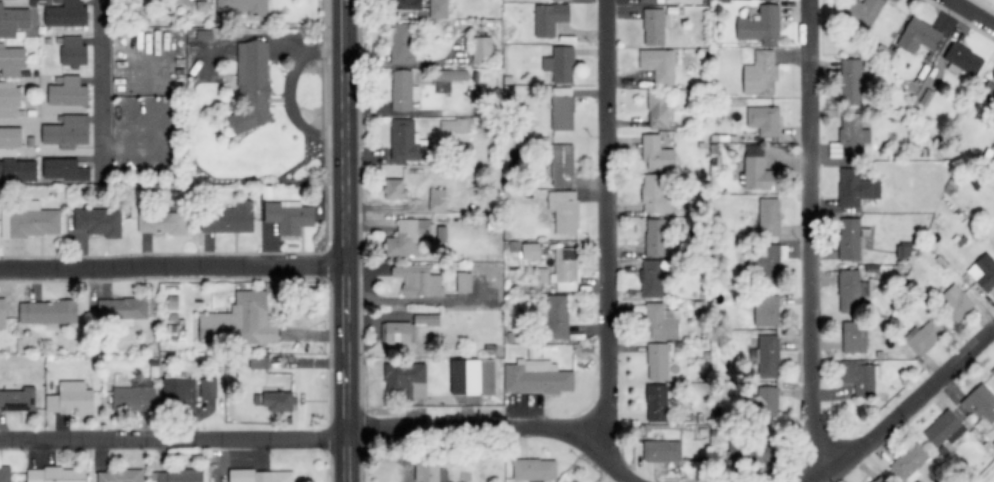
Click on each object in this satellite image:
building: (561, 0)
building: (650, 1)
building: (407, 4)
building: (438, 9)
road: (974, 10)
building: (861, 12)
building: (65, 13)
building: (549, 19)
building: (14, 21)
building: (654, 26)
building: (761, 26)
building: (918, 36)
building: (403, 44)
building: (482, 50)
building: (73, 52)
building: (11, 61)
building: (559, 64)
building: (658, 66)
building: (760, 74)
building: (451, 75)
building: (851, 81)
building: (252, 87)
road: (102, 91)
building: (402, 91)
building: (987, 91)
building: (67, 92)
building: (9, 99)
building: (658, 110)
building: (561, 113)
building: (763, 120)
building: (453, 126)
building: (66, 131)
building: (10, 137)
building: (847, 138)
building: (405, 141)
building: (656, 154)
building: (561, 165)
building: (64, 170)
building: (757, 170)
building: (18, 171)
building: (856, 188)
building: (394, 190)
building: (655, 195)
building: (436, 200)
building: (563, 211)
building: (289, 217)
building: (768, 217)
building: (228, 219)
road: (604, 219)
building: (33, 220)
building: (98, 222)
building: (161, 223)
building: (405, 237)
building: (657, 237)
building: (849, 239)
road: (341, 241)
road: (810, 241)
building: (511, 247)
building: (531, 251)
building: (903, 252)
building: (770, 264)
road: (170, 265)
building: (564, 269)
building: (983, 272)
building: (654, 276)
building: (417, 281)
building: (463, 282)
building: (849, 291)
building: (954, 303)
building: (127, 310)
building: (766, 311)
building: (47, 312)
building: (2, 314)
building: (556, 317)
building: (255, 319)
building: (660, 322)
building: (214, 326)
building: (396, 333)
building: (923, 337)
building: (854, 338)
building: (767, 356)
building: (657, 362)
building: (992, 372)
building: (473, 378)
building: (536, 378)
building: (861, 378)
building: (405, 379)
building: (207, 388)
building: (179, 389)
building: (71, 399)
building: (133, 399)
building: (769, 399)
building: (18, 400)
building: (274, 401)
building: (656, 403)
building: (978, 404)
road: (906, 405)
building: (943, 432)
road: (329, 438)
building: (662, 451)
building: (751, 452)
building: (910, 463)
building: (426, 469)
building: (534, 470)
building: (5, 474)
building: (56, 475)
building: (120, 476)
building: (177, 476)
building: (259, 476)
building: (878, 479)
building: (573, 481)

